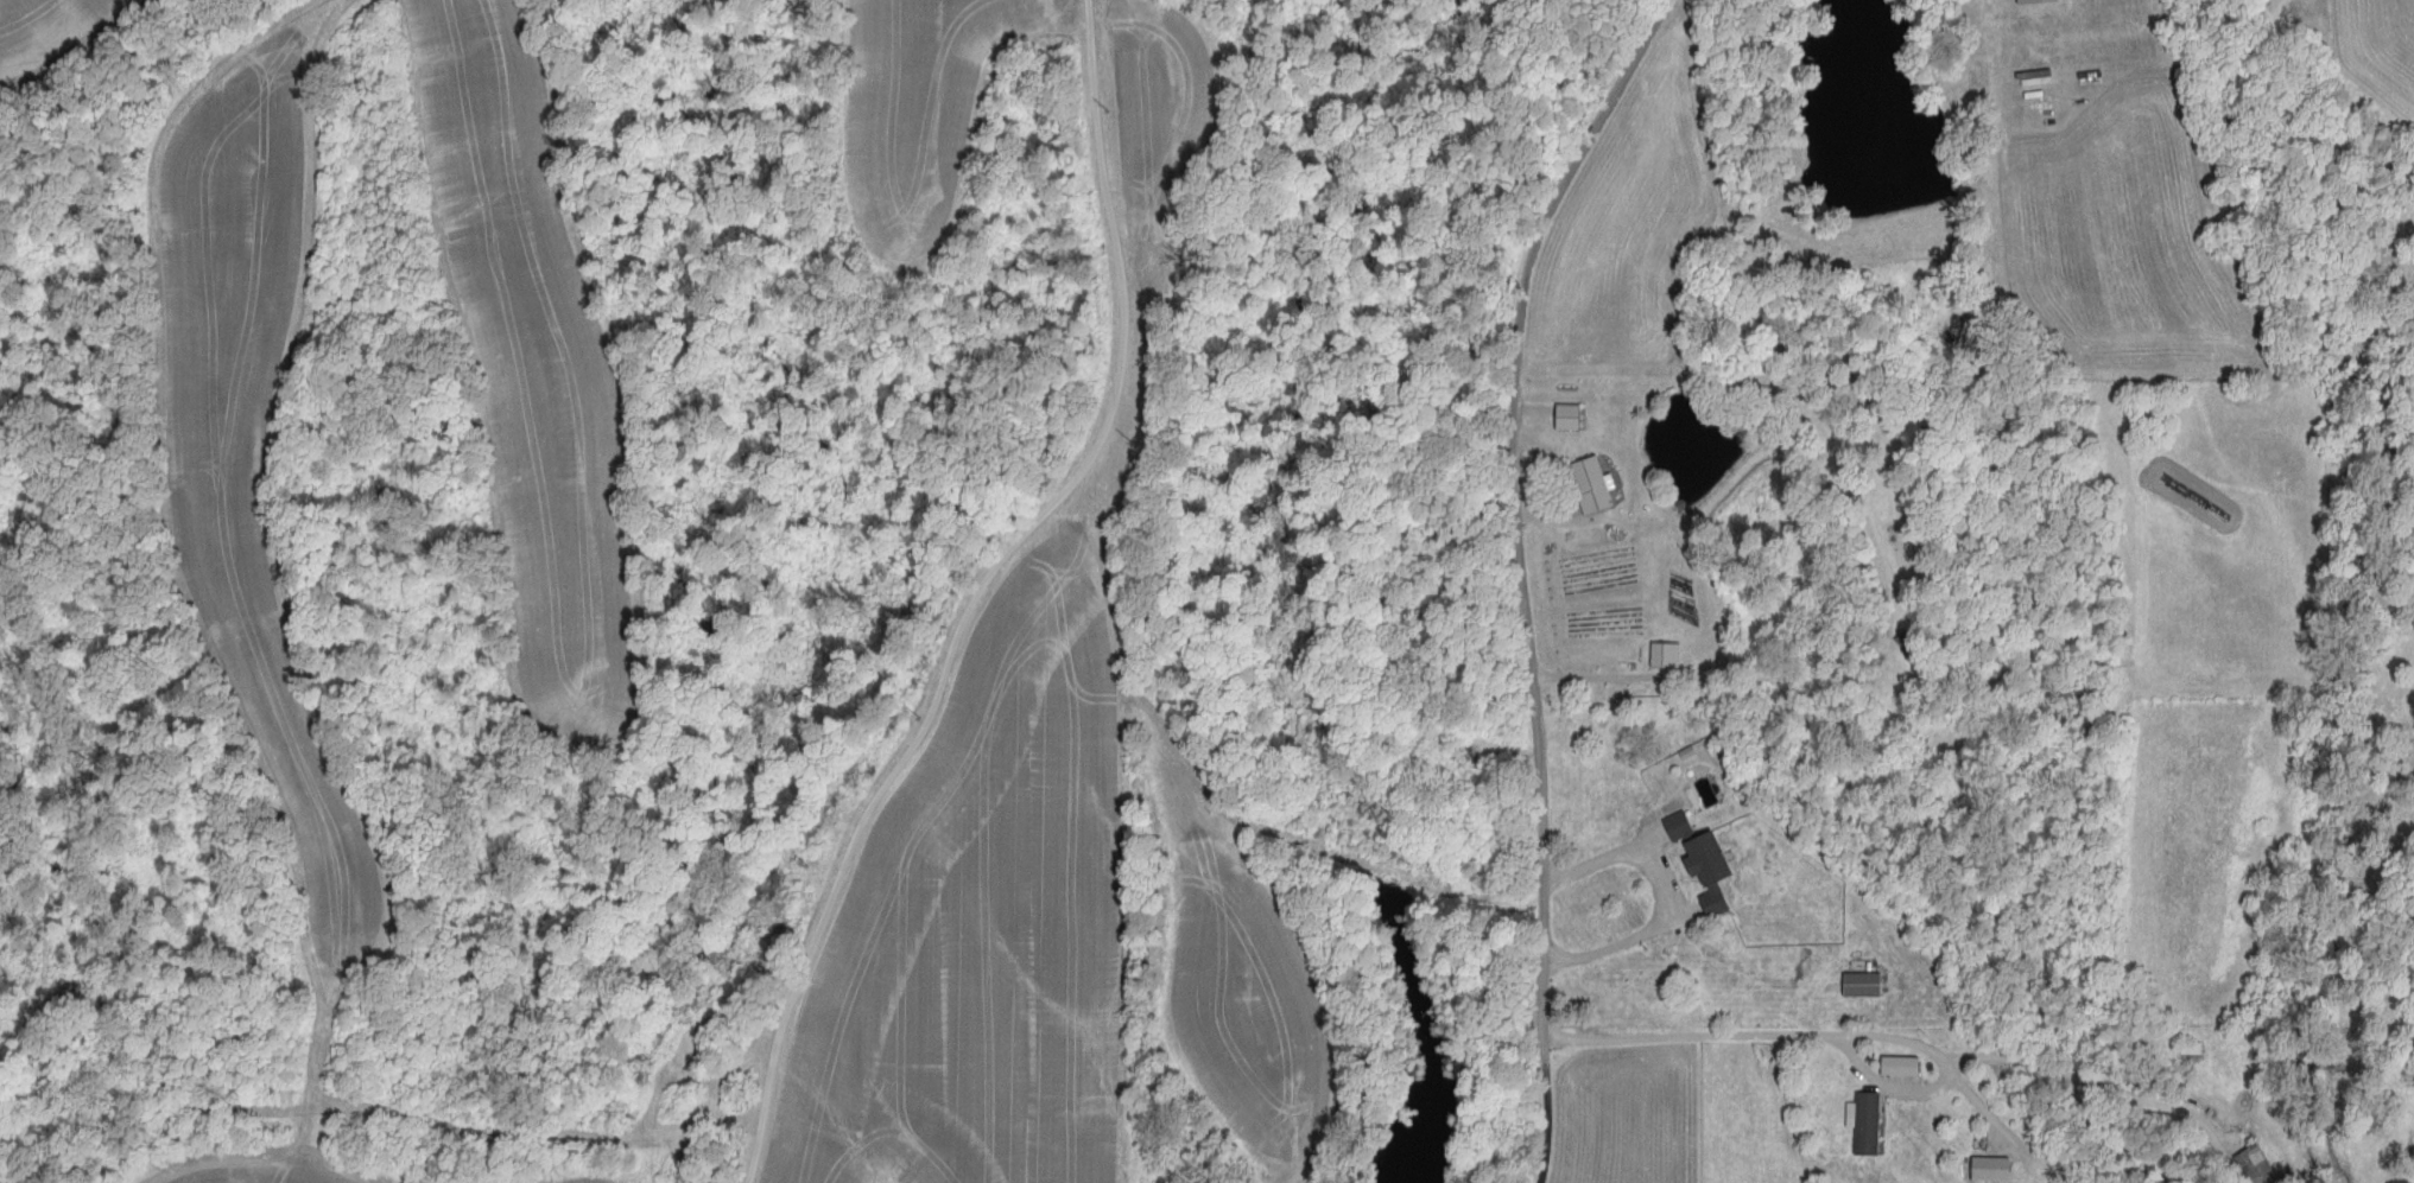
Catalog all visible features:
building: (2038, 2)
crop: (49, 33)
crop: (522, 336)
building: (1570, 419)
crop: (251, 441)
building: (1592, 486)
road: (1522, 574)
road: (982, 590)
building: (1912, 647)
building: (1666, 657)
building: (1680, 828)
building: (1711, 873)
road: (1672, 896)
building: (1863, 986)
road: (1829, 1037)
building: (2193, 1050)
building: (1902, 1068)
road: (1988, 1113)
building: (1869, 1126)
building: (2257, 1166)
building: (1992, 1171)

